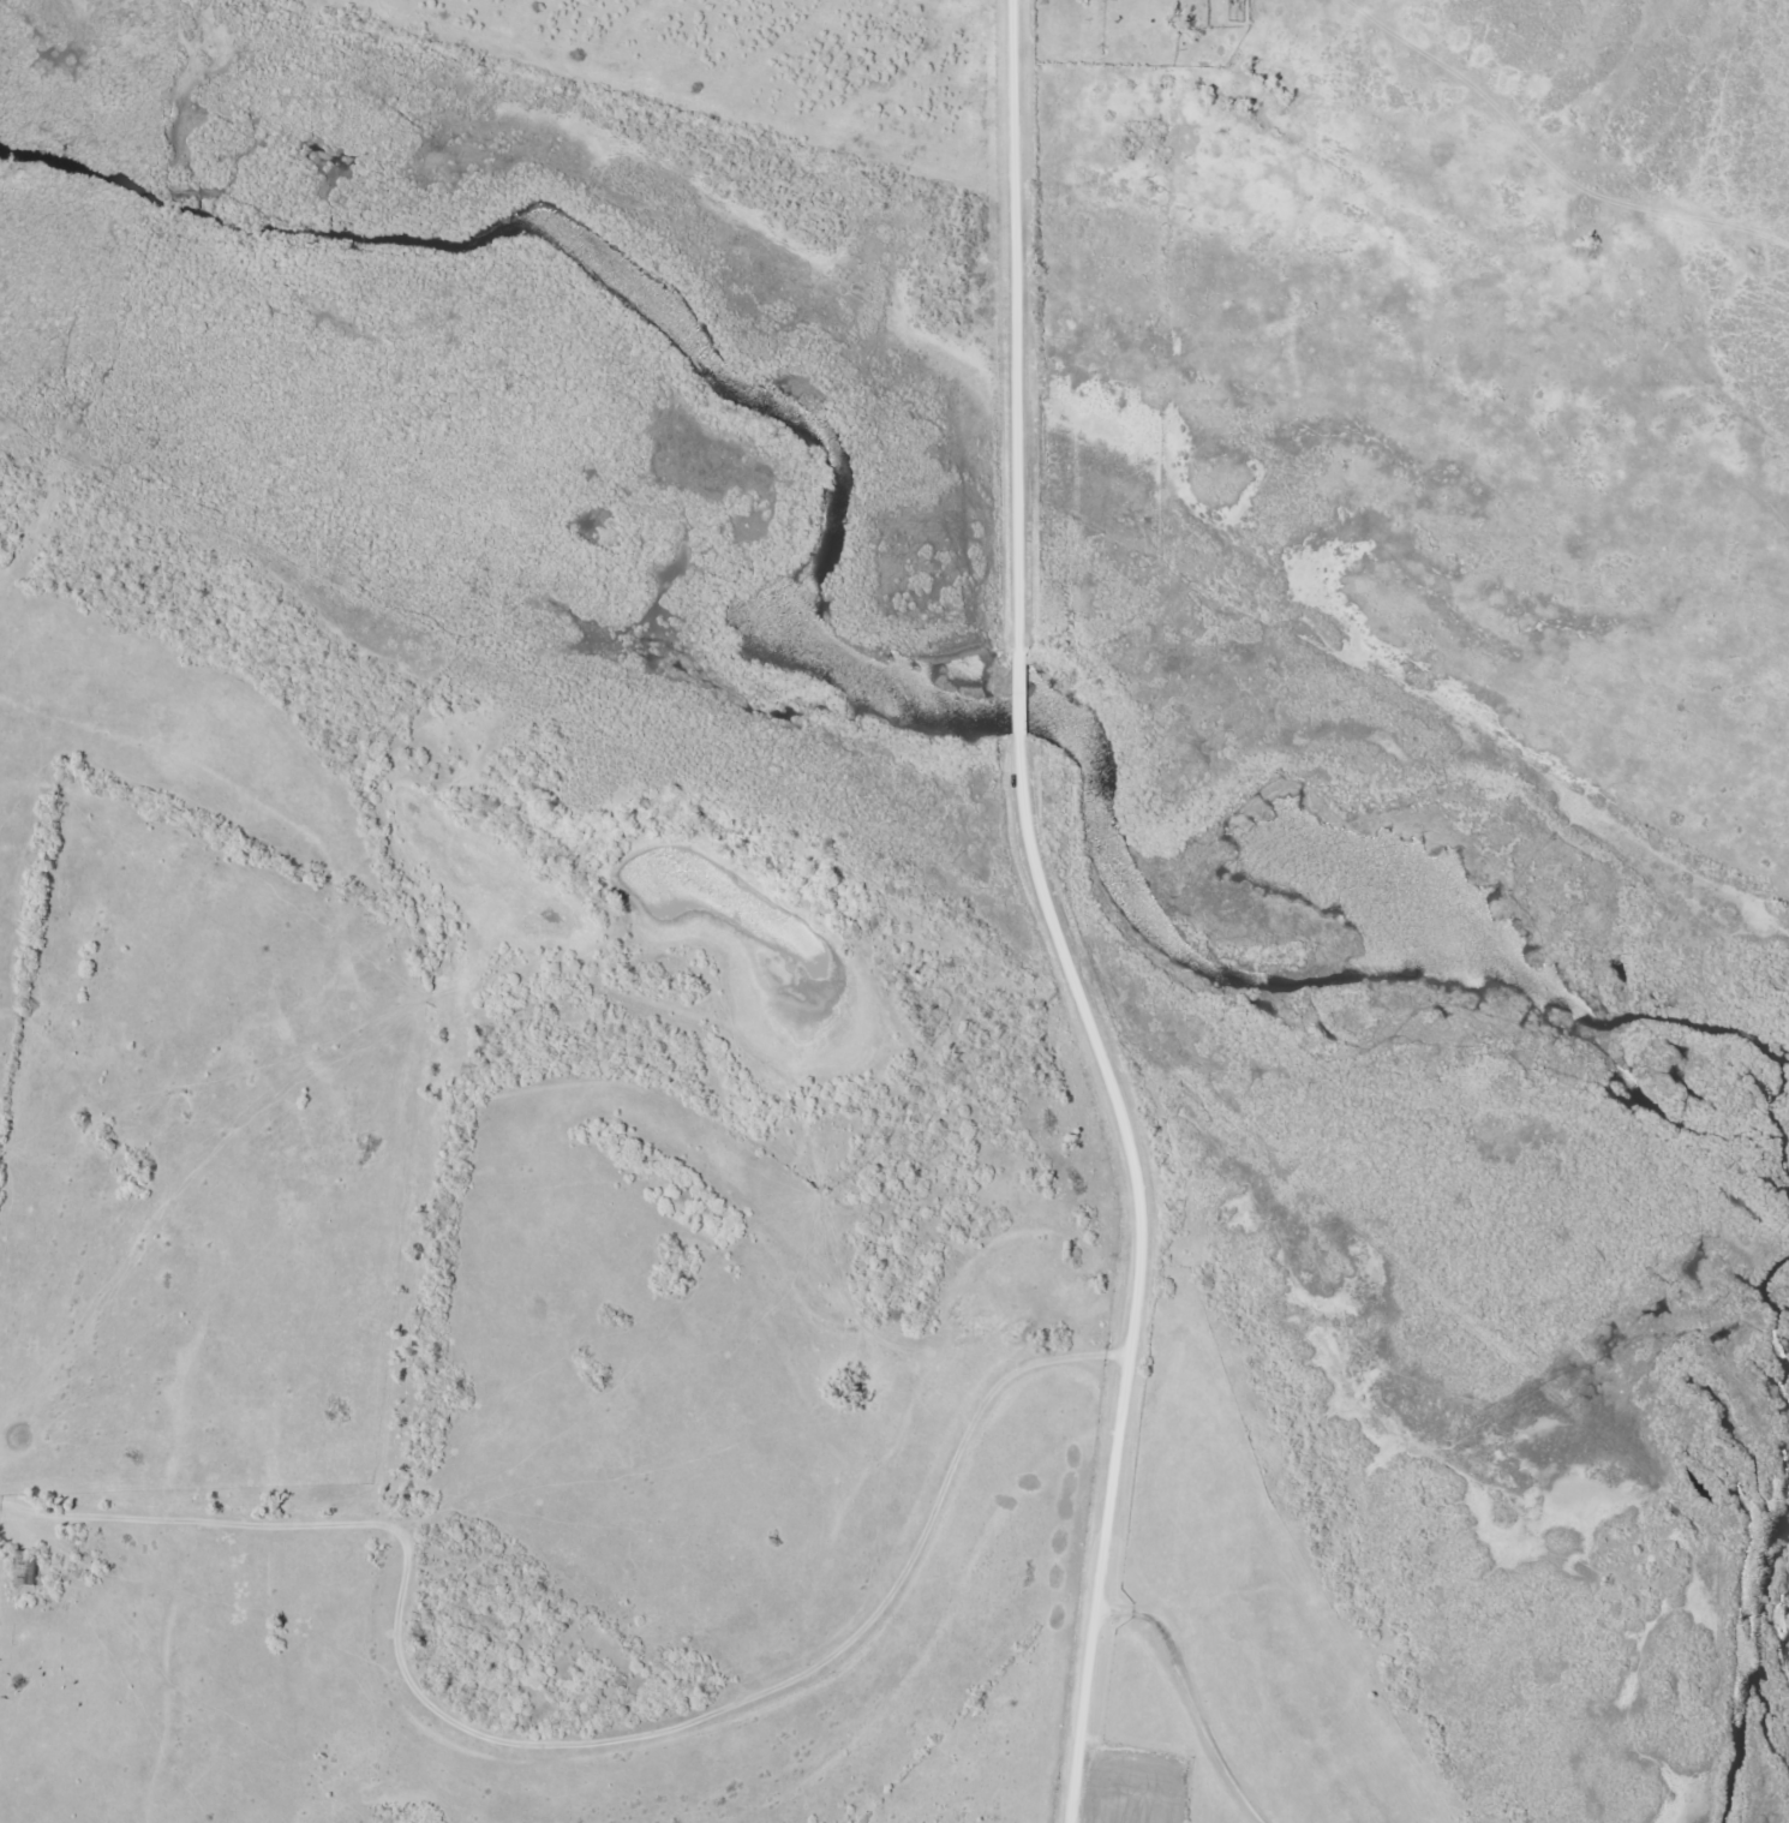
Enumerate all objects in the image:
road: (1040, 918)
building: (29, 1568)
road: (1189, 1697)

